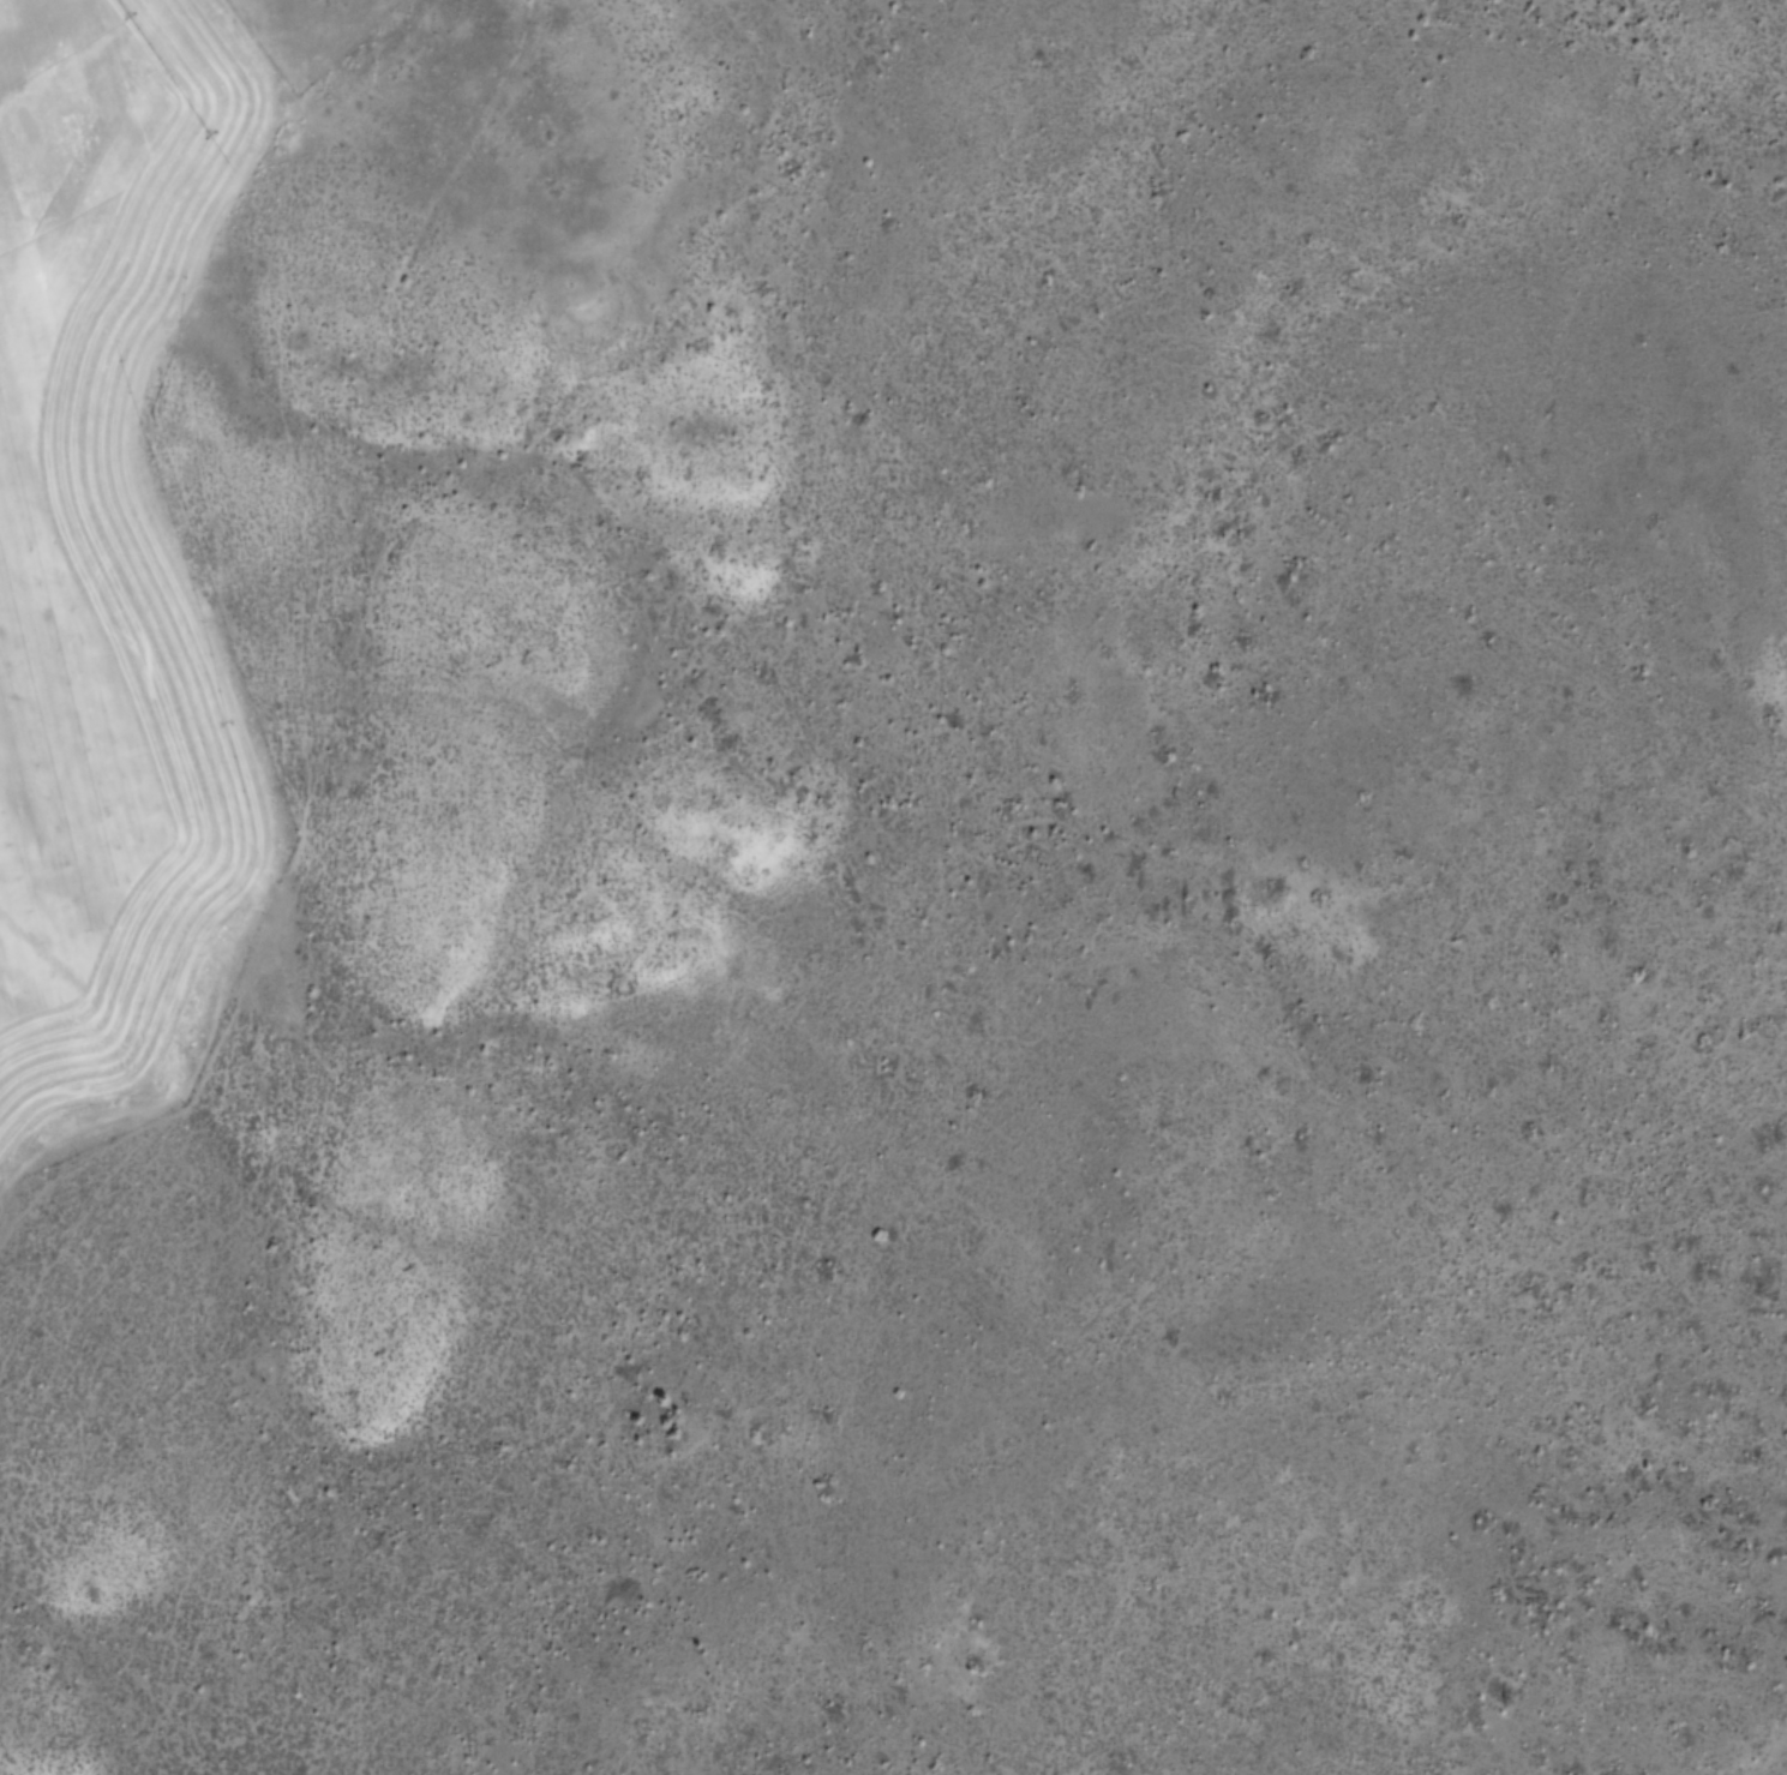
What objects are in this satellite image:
crop: (114, 536)

